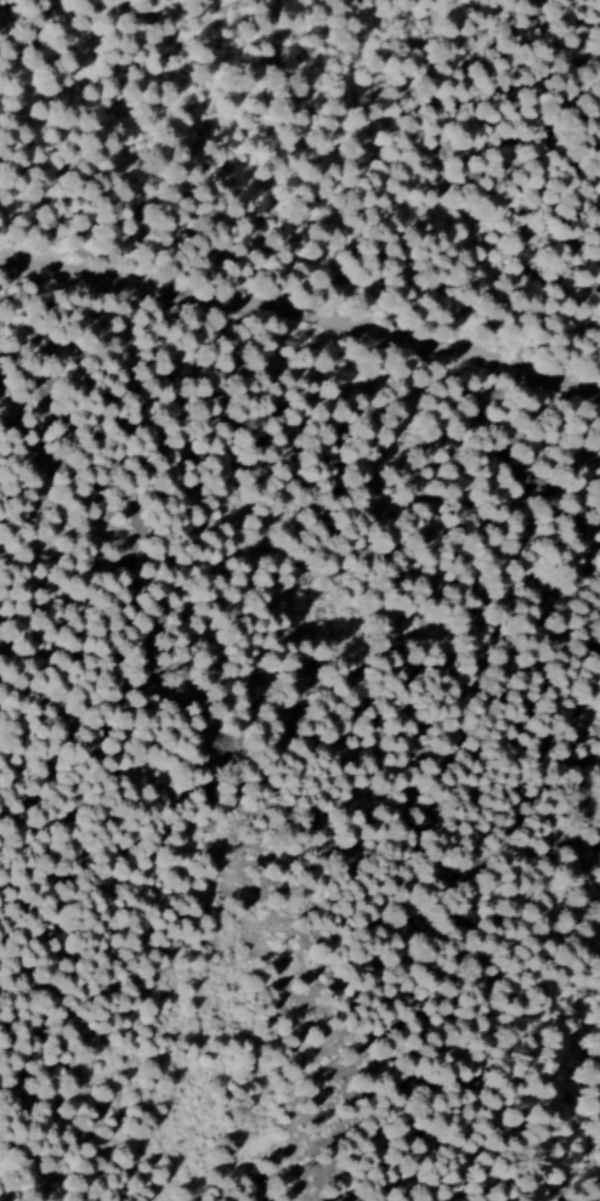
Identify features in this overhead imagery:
road: (301, 318)

